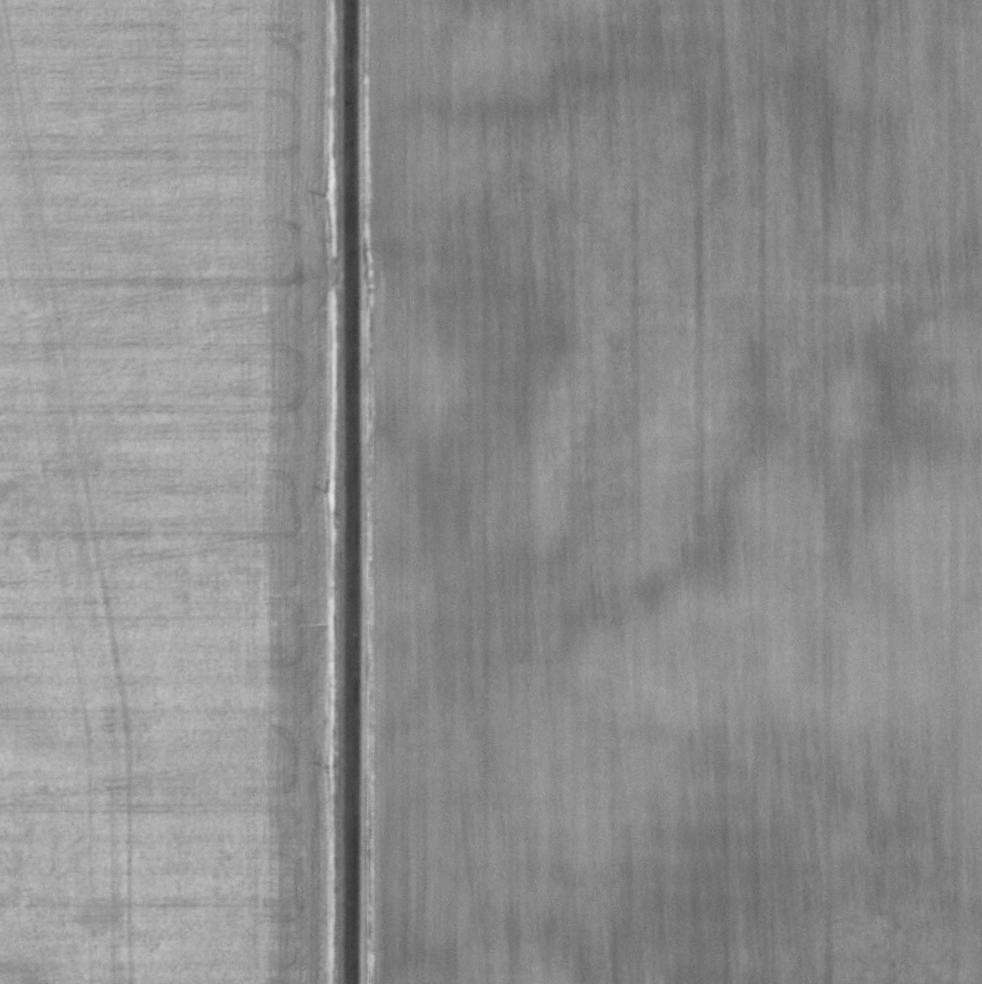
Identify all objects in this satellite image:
road: (348, 492)

